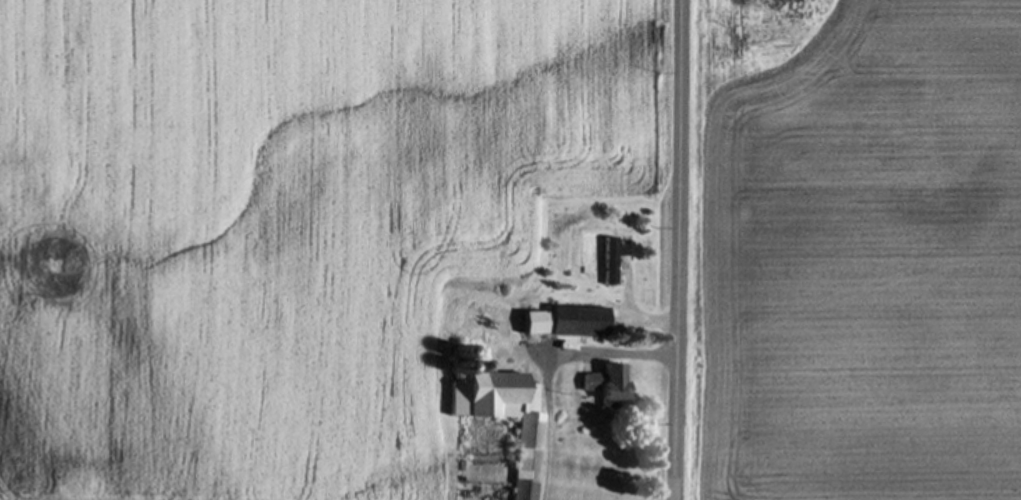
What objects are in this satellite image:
road: (679, 250)
building: (616, 257)
road: (654, 319)
building: (580, 321)
building: (535, 322)
road: (550, 366)
building: (610, 382)
building: (531, 460)

